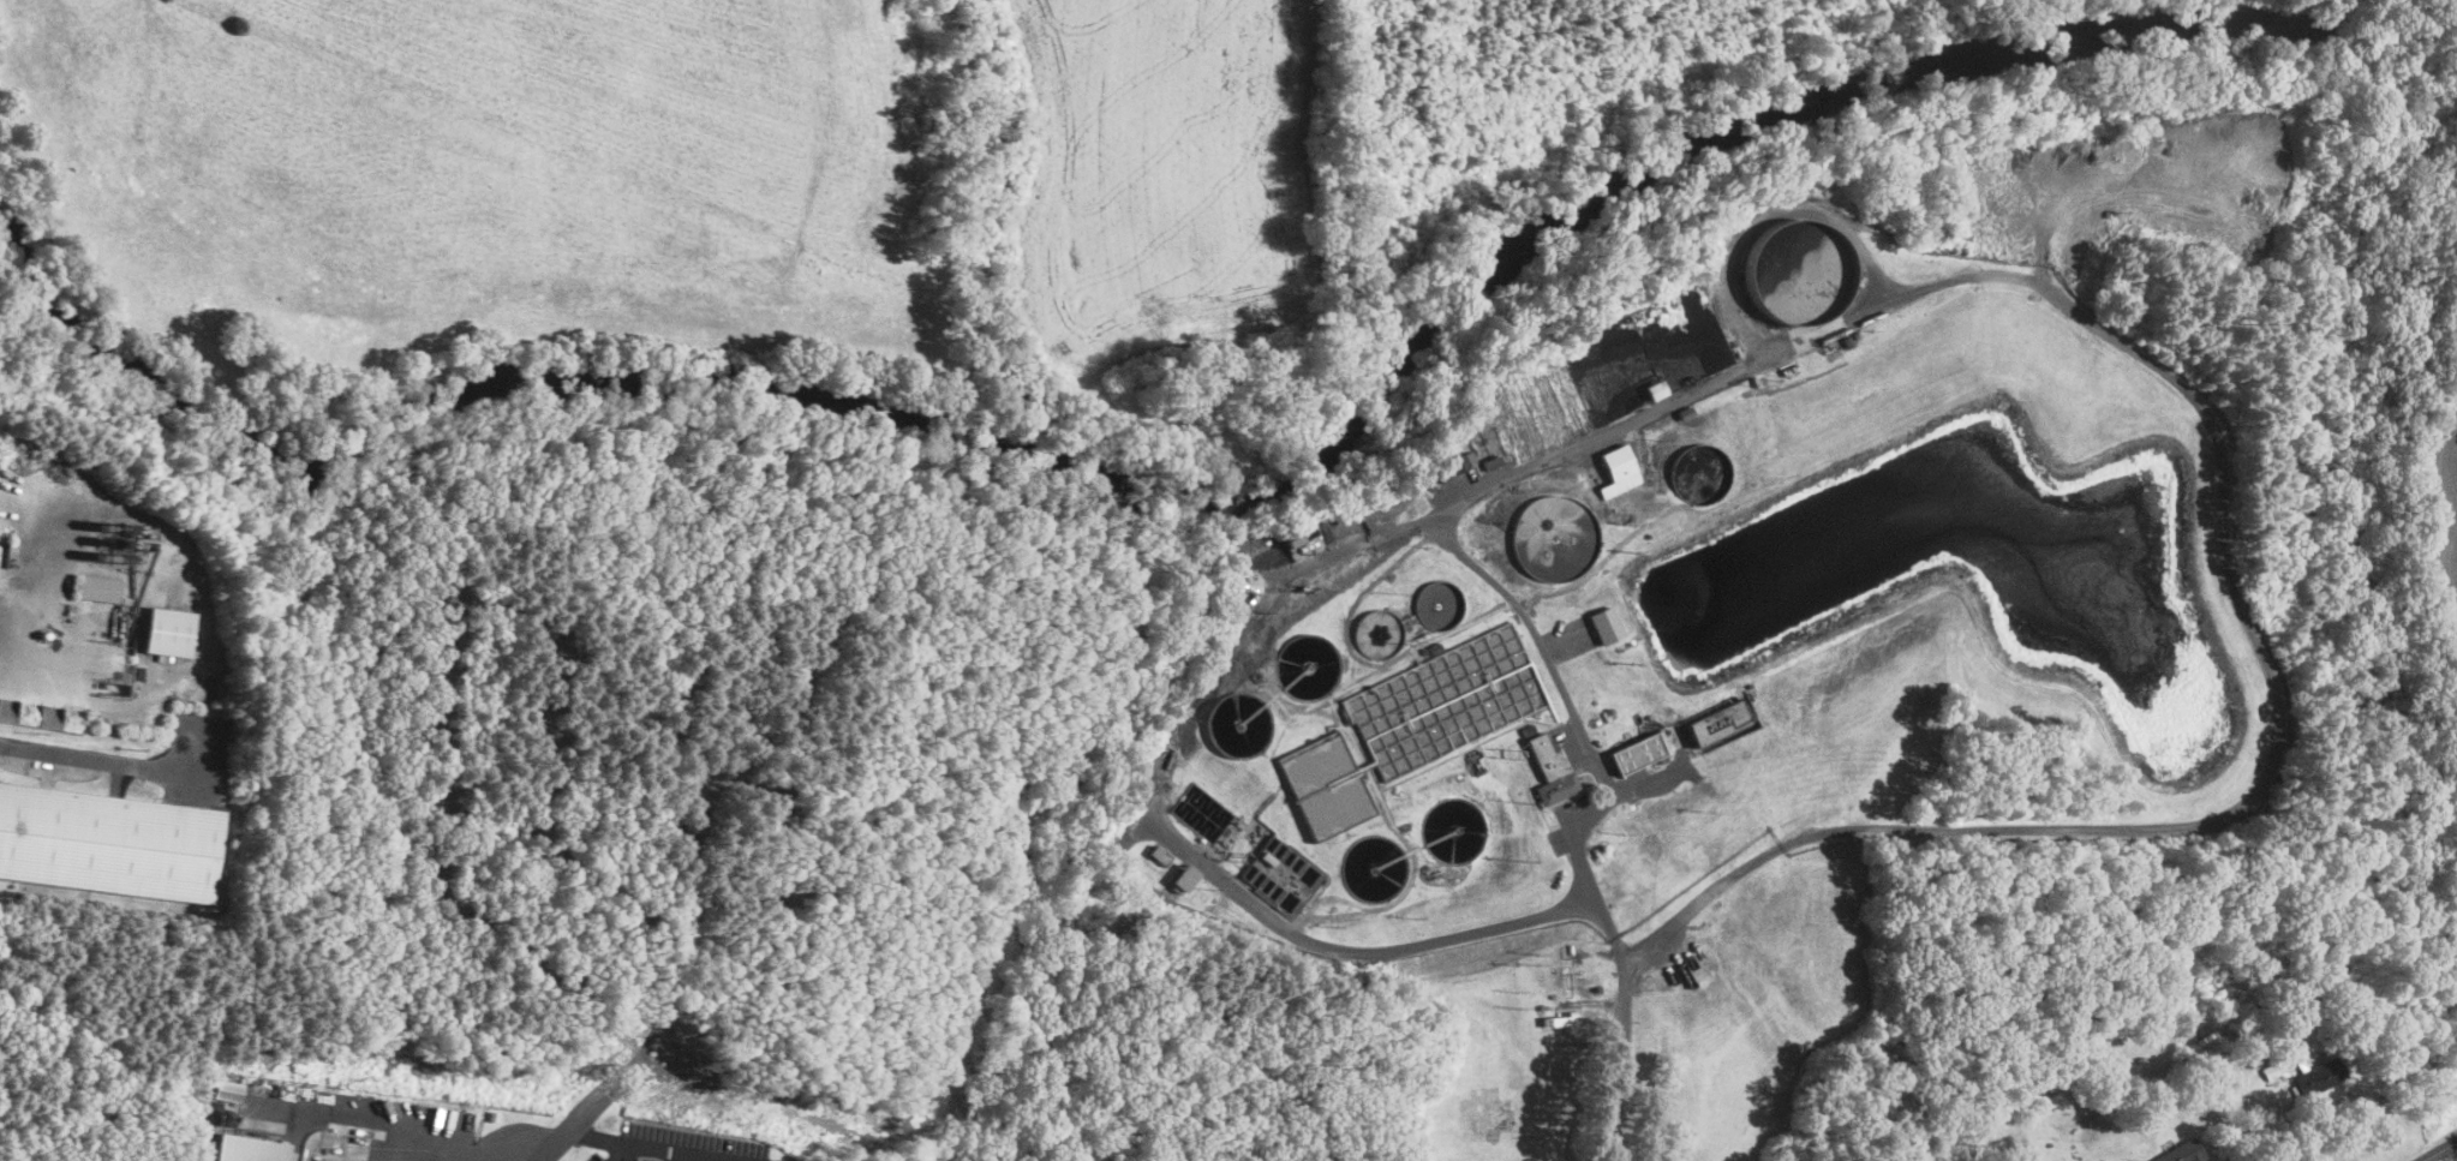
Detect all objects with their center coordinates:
building: (1650, 390)
building: (1459, 461)
building: (1489, 462)
building: (1619, 469)
road: (2220, 516)
building: (2, 551)
building: (98, 590)
wastewater plant: (1729, 608)
road: (1259, 610)
building: (1604, 624)
building: (171, 633)
road: (37, 681)
building: (1716, 722)
building: (1637, 752)
road: (88, 753)
building: (1549, 768)
building: (109, 844)
building: (1154, 855)
building: (1279, 876)
building: (1179, 878)
building: (2314, 977)
building: (2288, 992)
building: (2254, 1015)
building: (1556, 1019)
building: (2198, 1031)
building: (2139, 1059)
road: (1620, 1061)
building: (2267, 1070)
building: (2318, 1075)
building: (229, 1089)
building: (2050, 1100)
road: (2240, 1121)
road: (402, 1132)
road: (564, 1132)
parking lot: (675, 1145)
building: (252, 1148)
road: (654, 1148)
road: (2440, 1150)
building: (2177, 1151)
road: (621, 1153)
road: (440, 1154)
road: (685, 1157)
road: (736, 1160)

